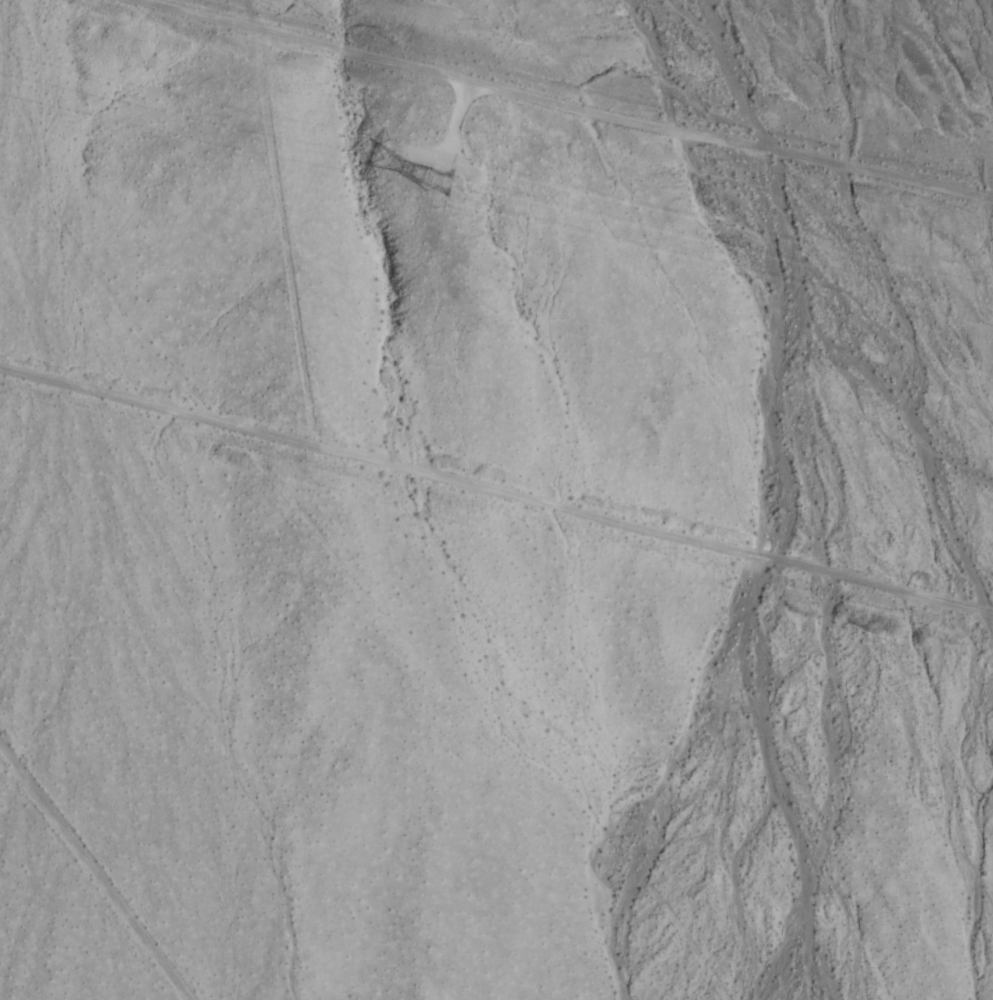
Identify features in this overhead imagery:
road: (580, 96)
power tower: (450, 169)
road: (496, 496)
road: (89, 886)

